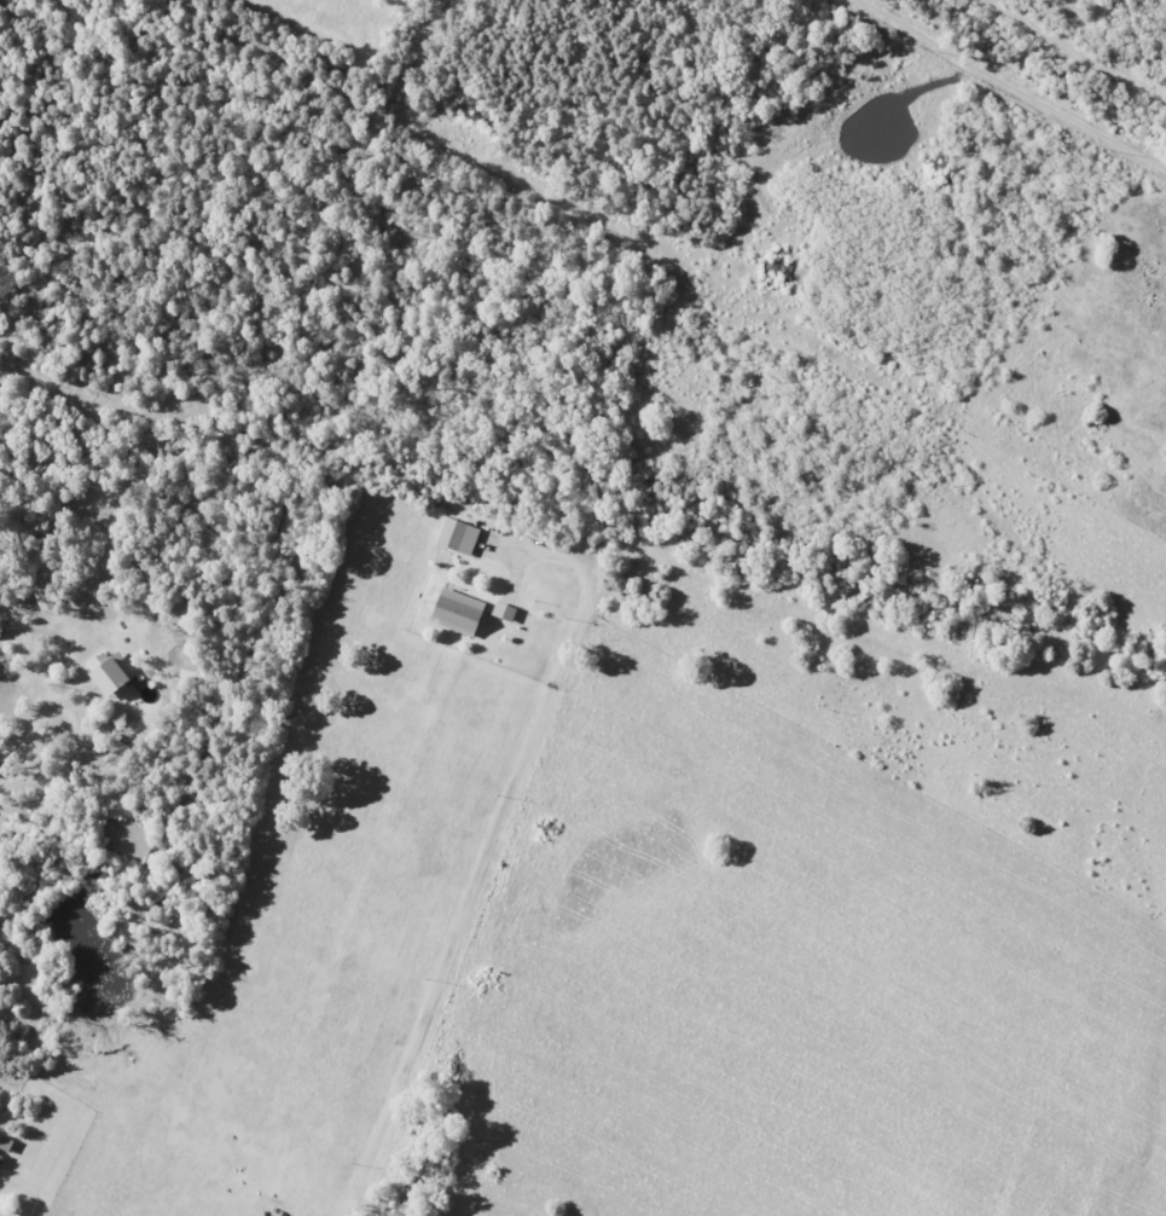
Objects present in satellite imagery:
road: (1005, 86)
building: (460, 537)
building: (43, 592)
building: (506, 612)
building: (462, 613)
building: (114, 677)
road: (34, 718)
road: (489, 844)

